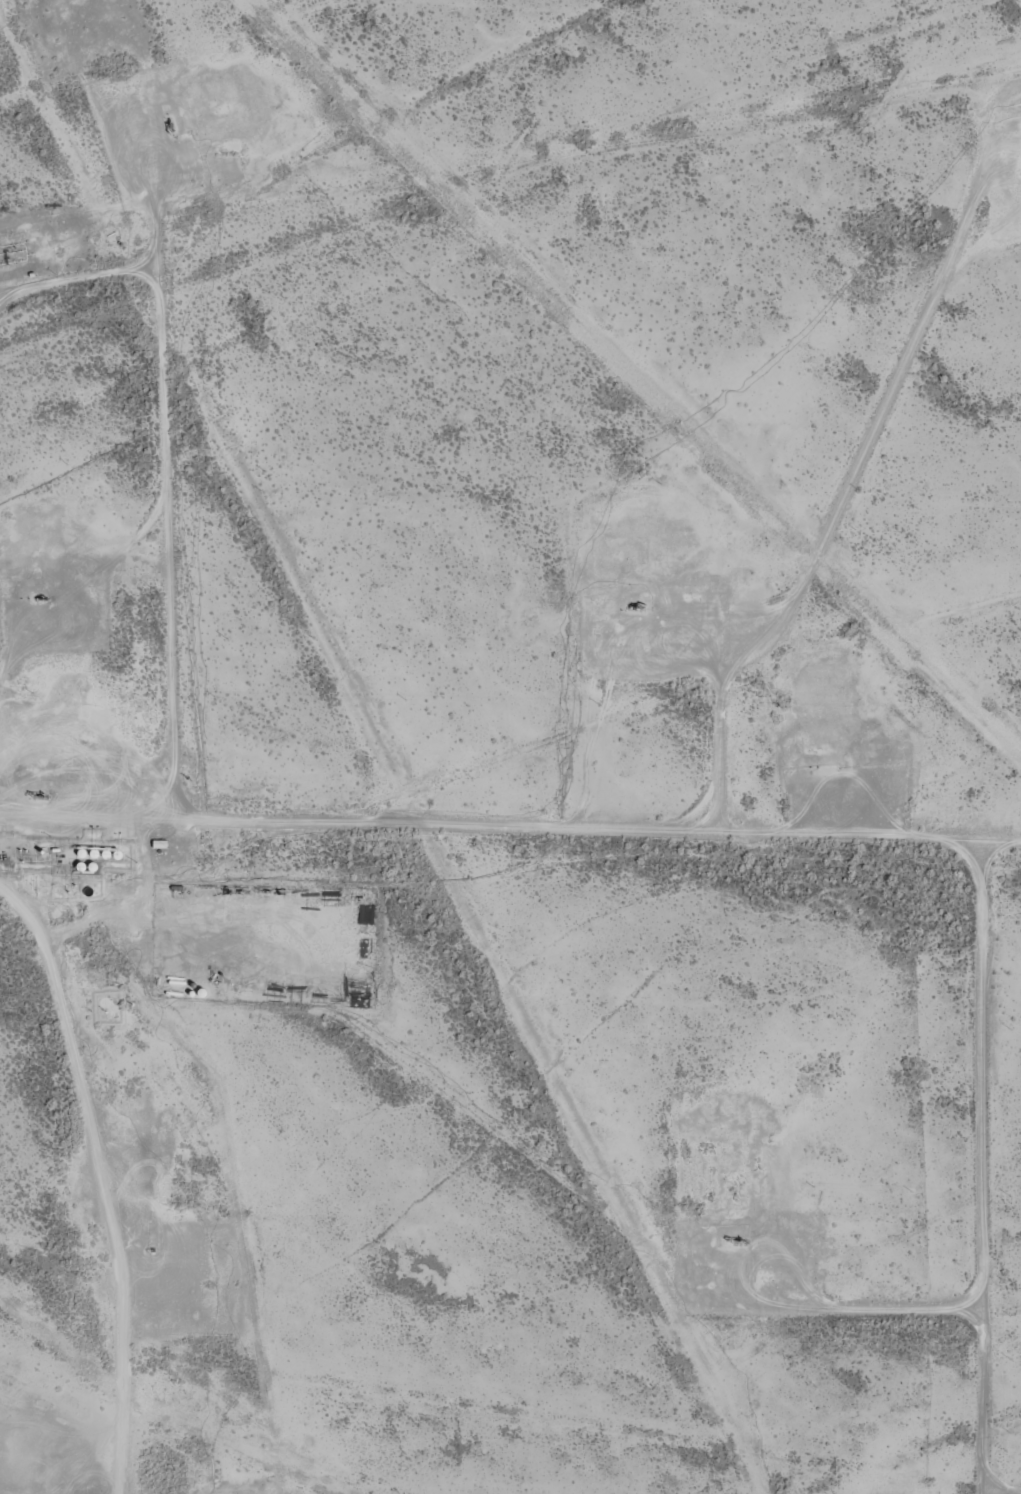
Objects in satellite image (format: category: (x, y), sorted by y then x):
road: (106, 1400)

